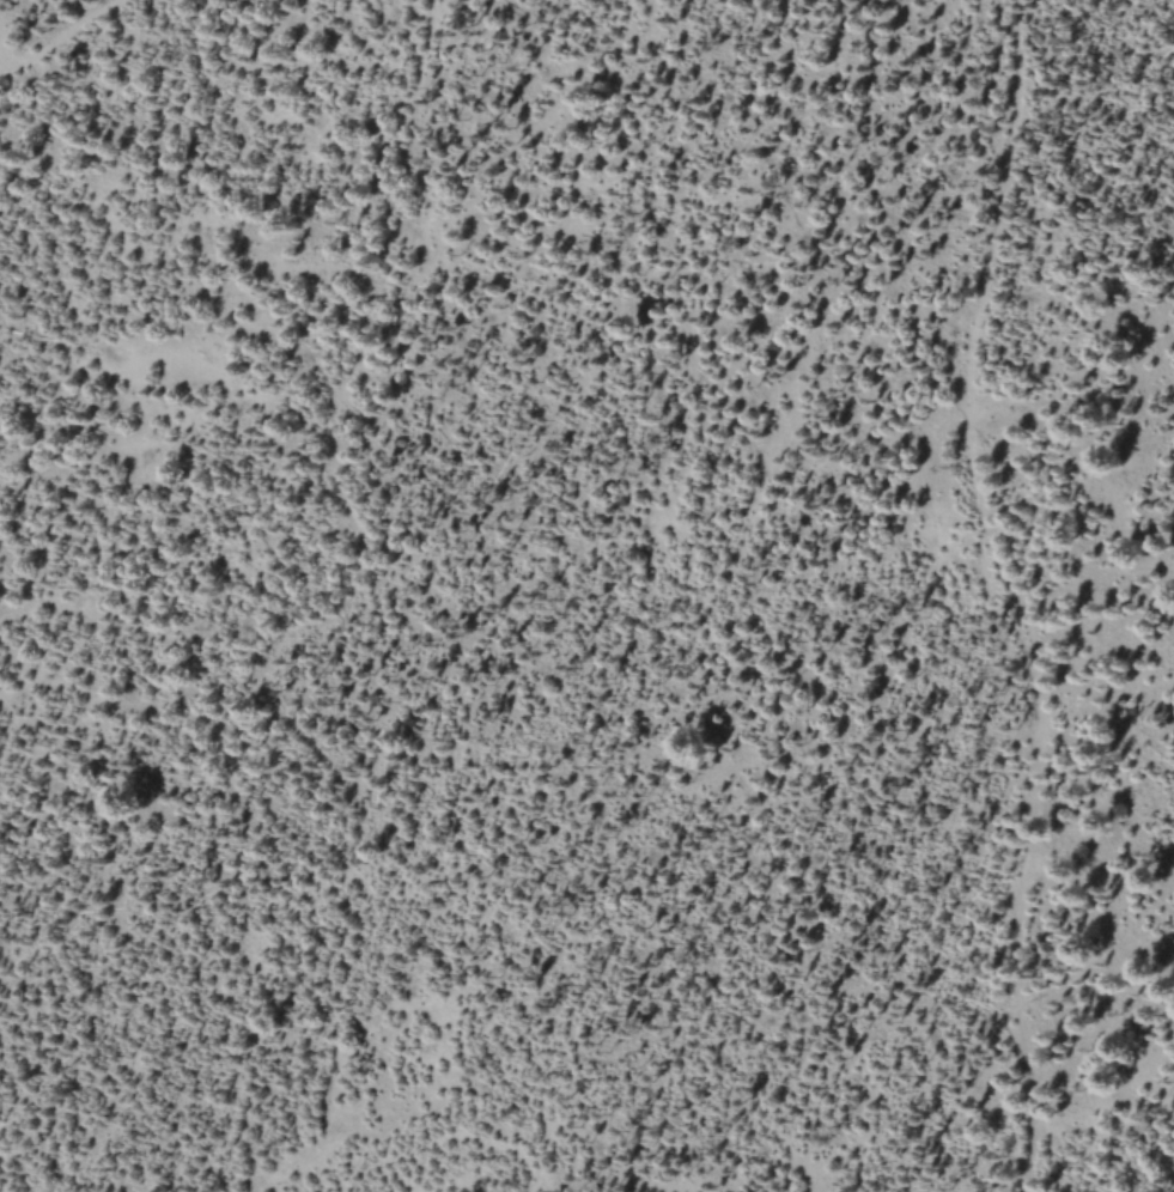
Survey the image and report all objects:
road: (53, 43)
road: (902, 598)

